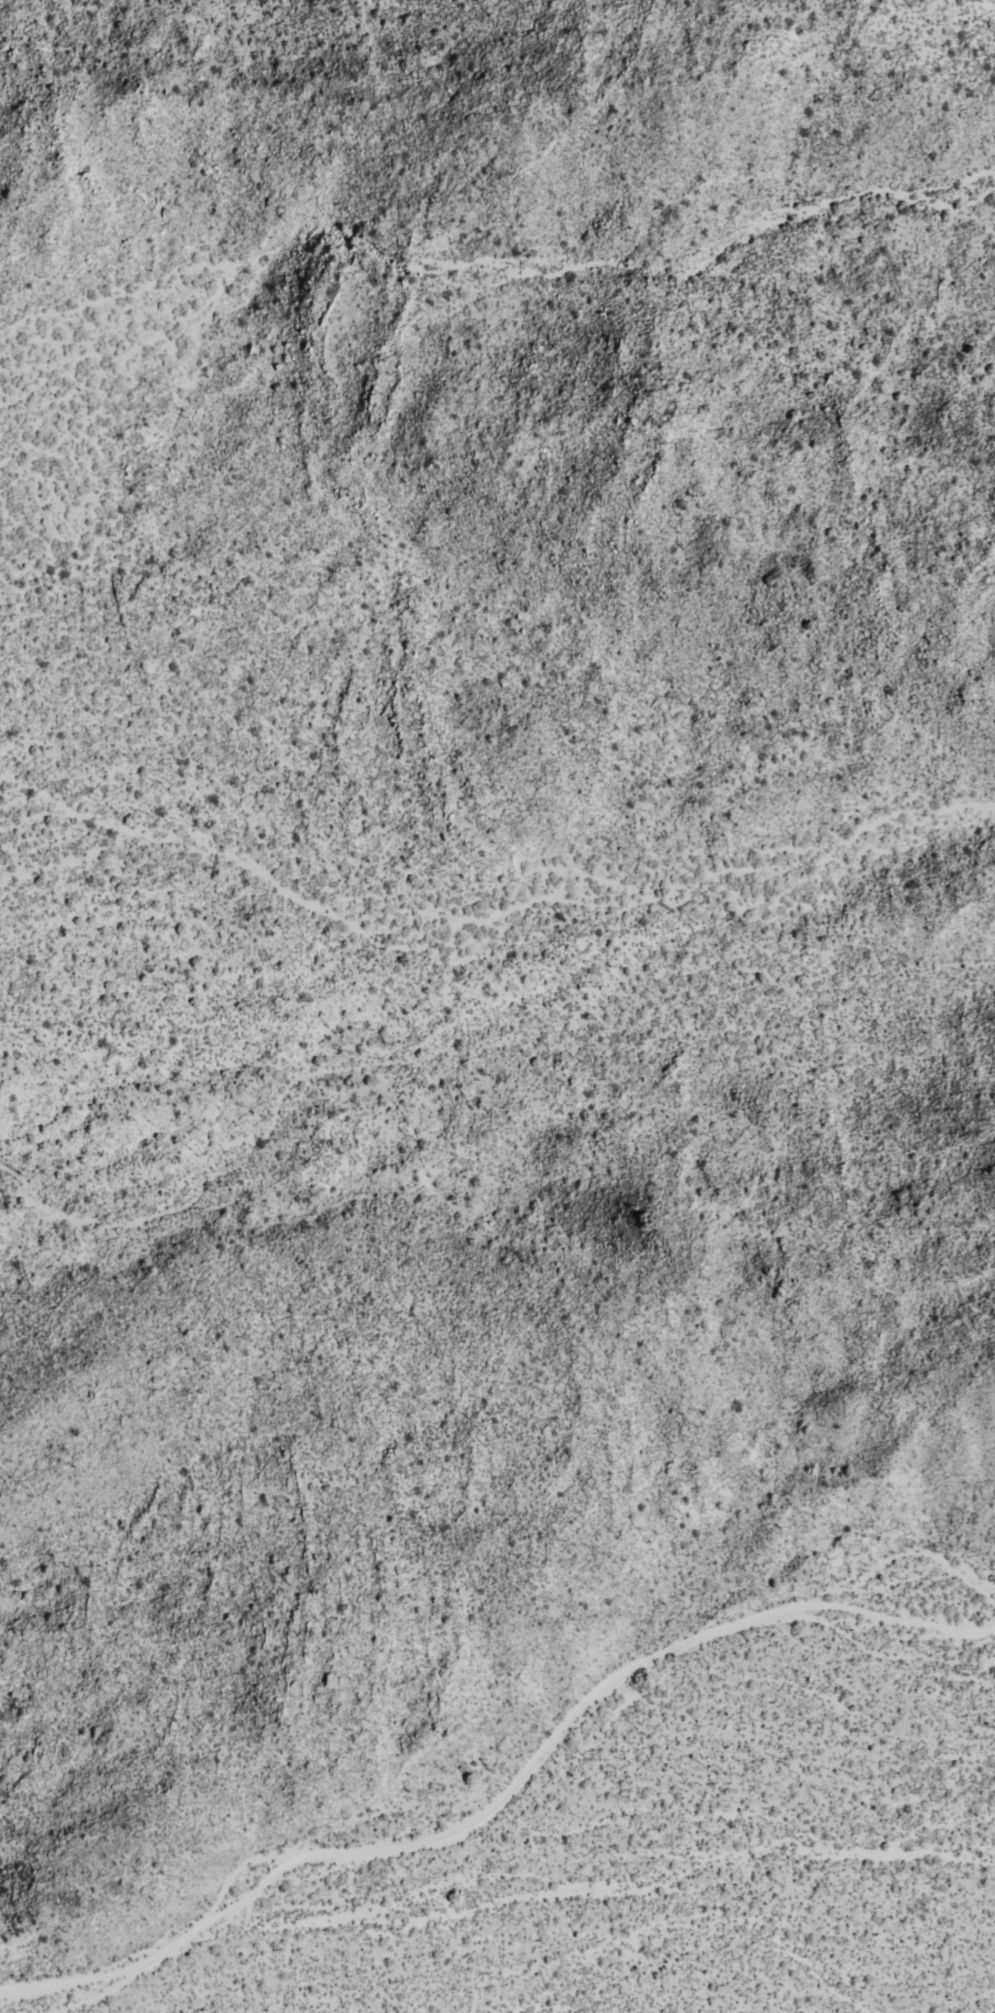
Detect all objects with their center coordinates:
road: (504, 1792)

